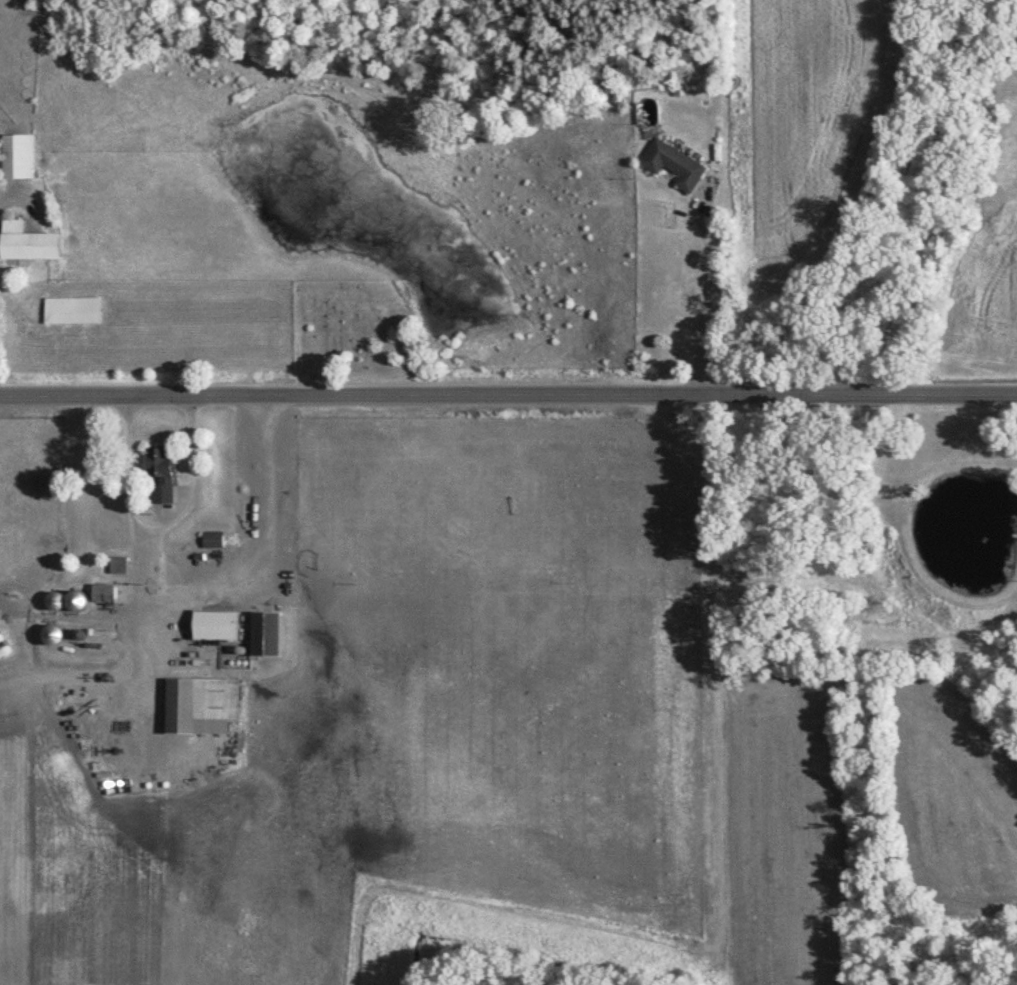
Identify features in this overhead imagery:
crop: (805, 119)
building: (18, 155)
building: (675, 163)
building: (28, 241)
building: (71, 309)
park: (354, 333)
road: (508, 396)
building: (160, 472)
building: (212, 538)
building: (118, 564)
building: (104, 591)
building: (215, 624)
building: (265, 633)
building: (200, 704)

